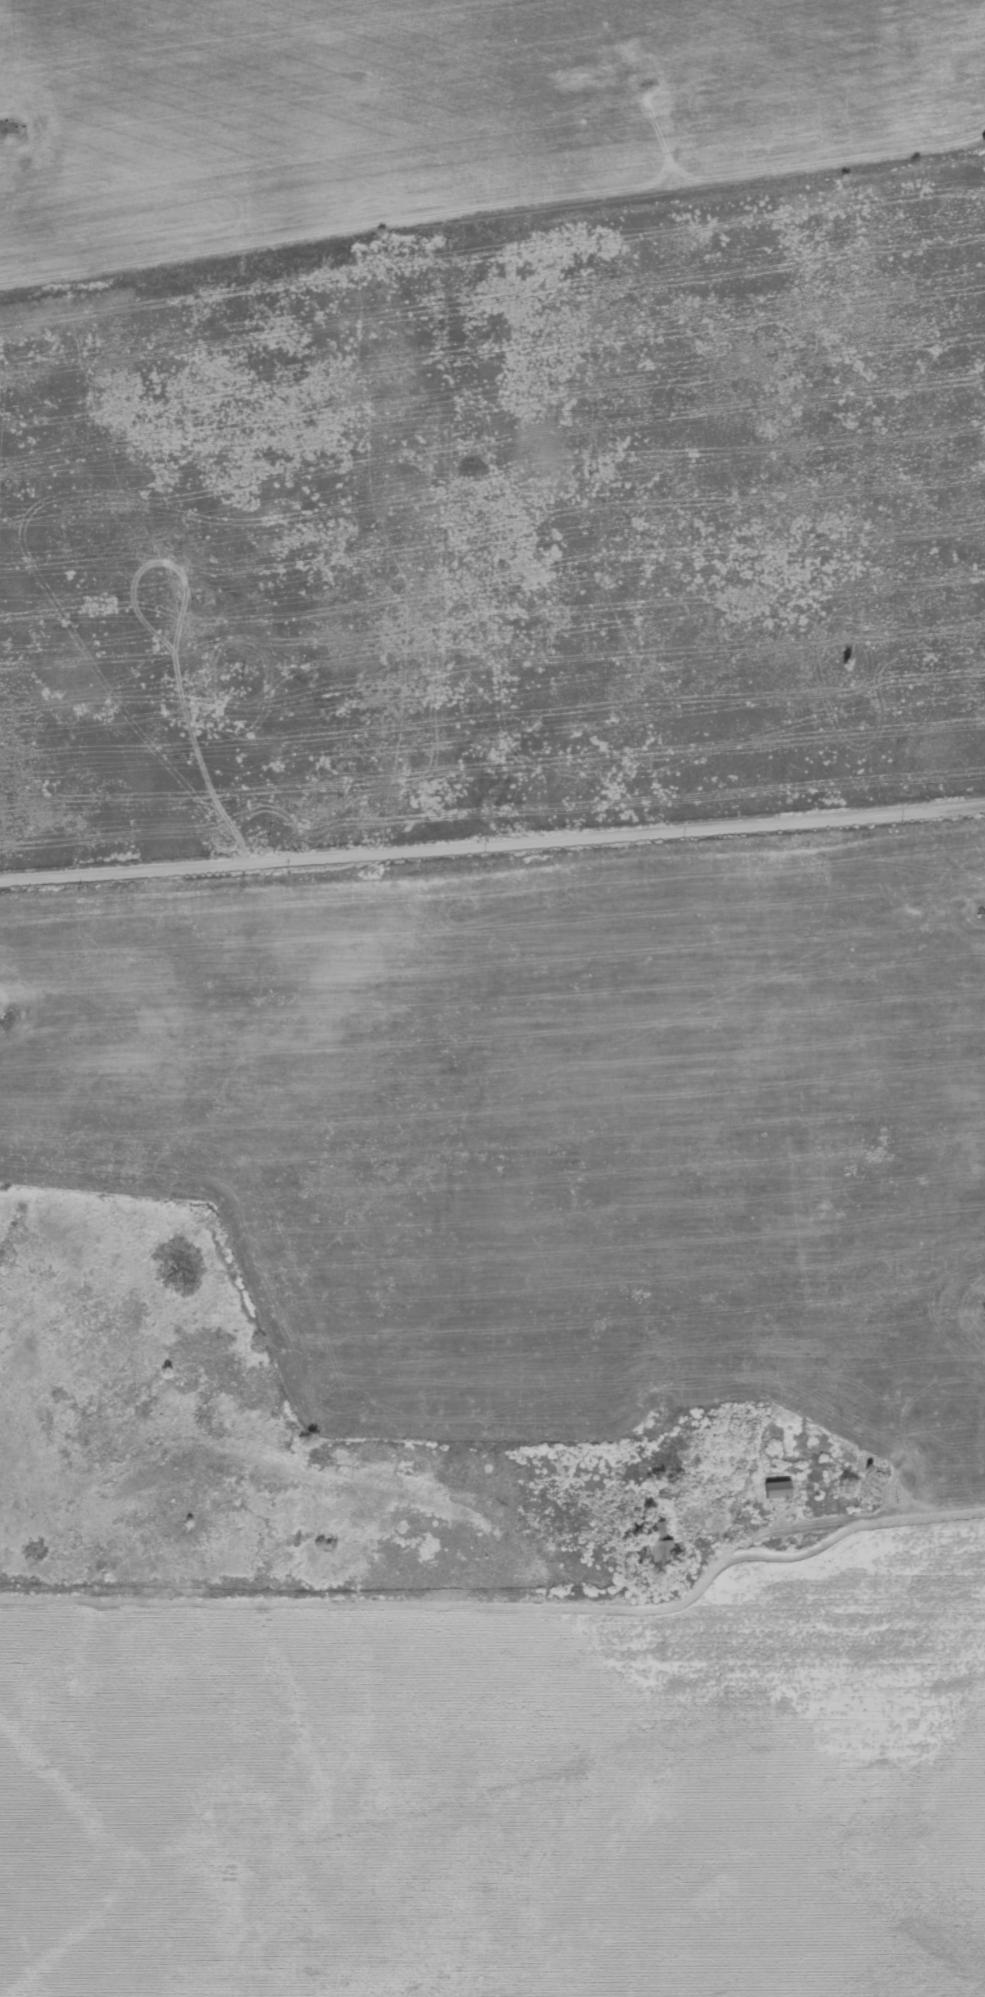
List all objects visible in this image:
road: (769, 572)
road: (492, 843)
building: (982, 1294)
building: (780, 1489)
road: (831, 1521)
building: (662, 1549)

